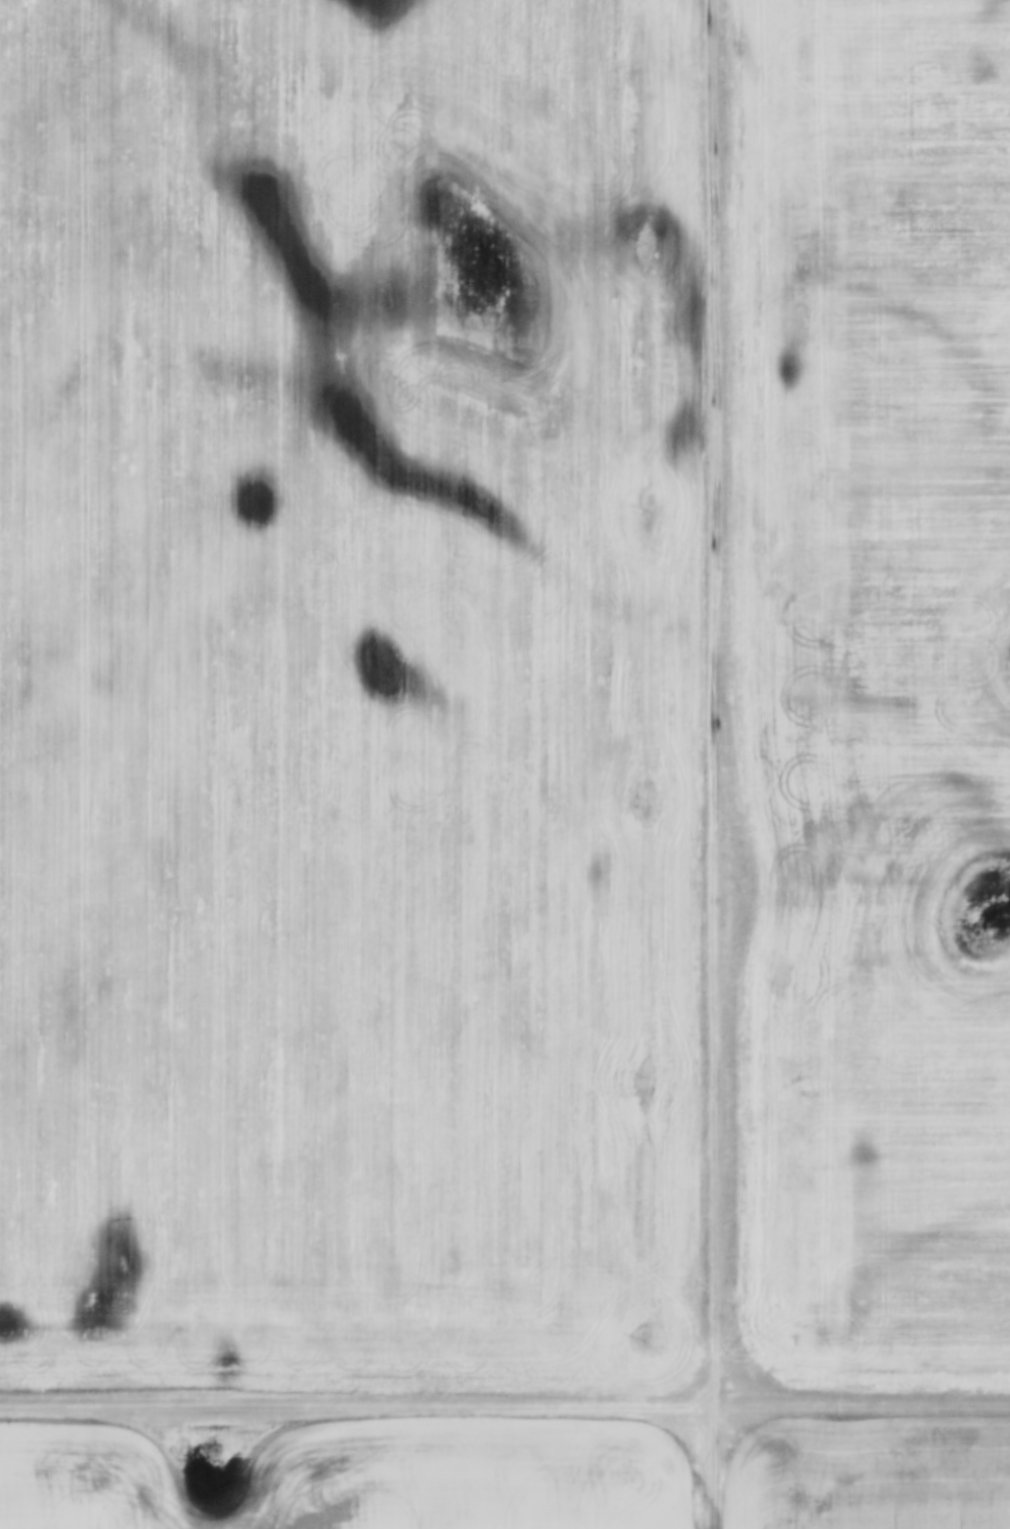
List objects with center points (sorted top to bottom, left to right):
road: (717, 764)
road: (504, 1405)

